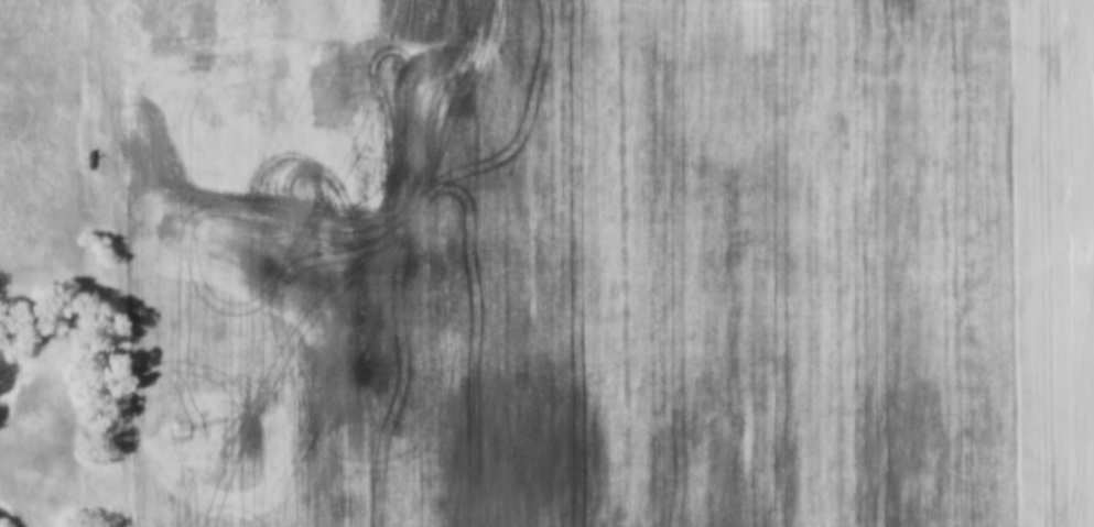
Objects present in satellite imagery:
power tower: (182, 426)

